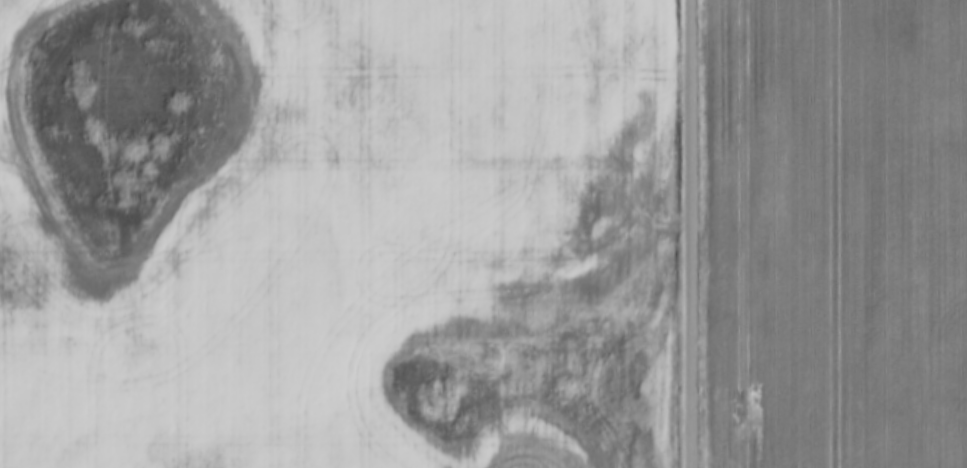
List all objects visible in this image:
road: (689, 233)

